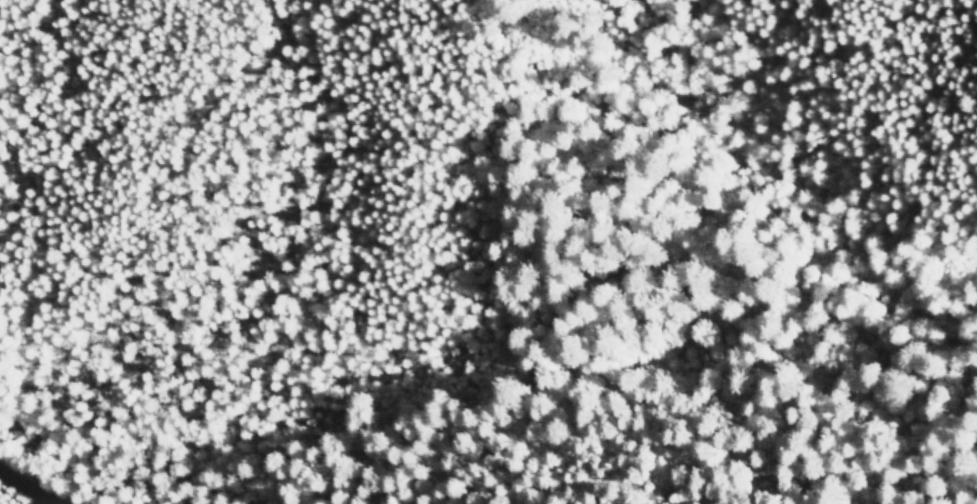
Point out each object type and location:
road: (29, 491)

